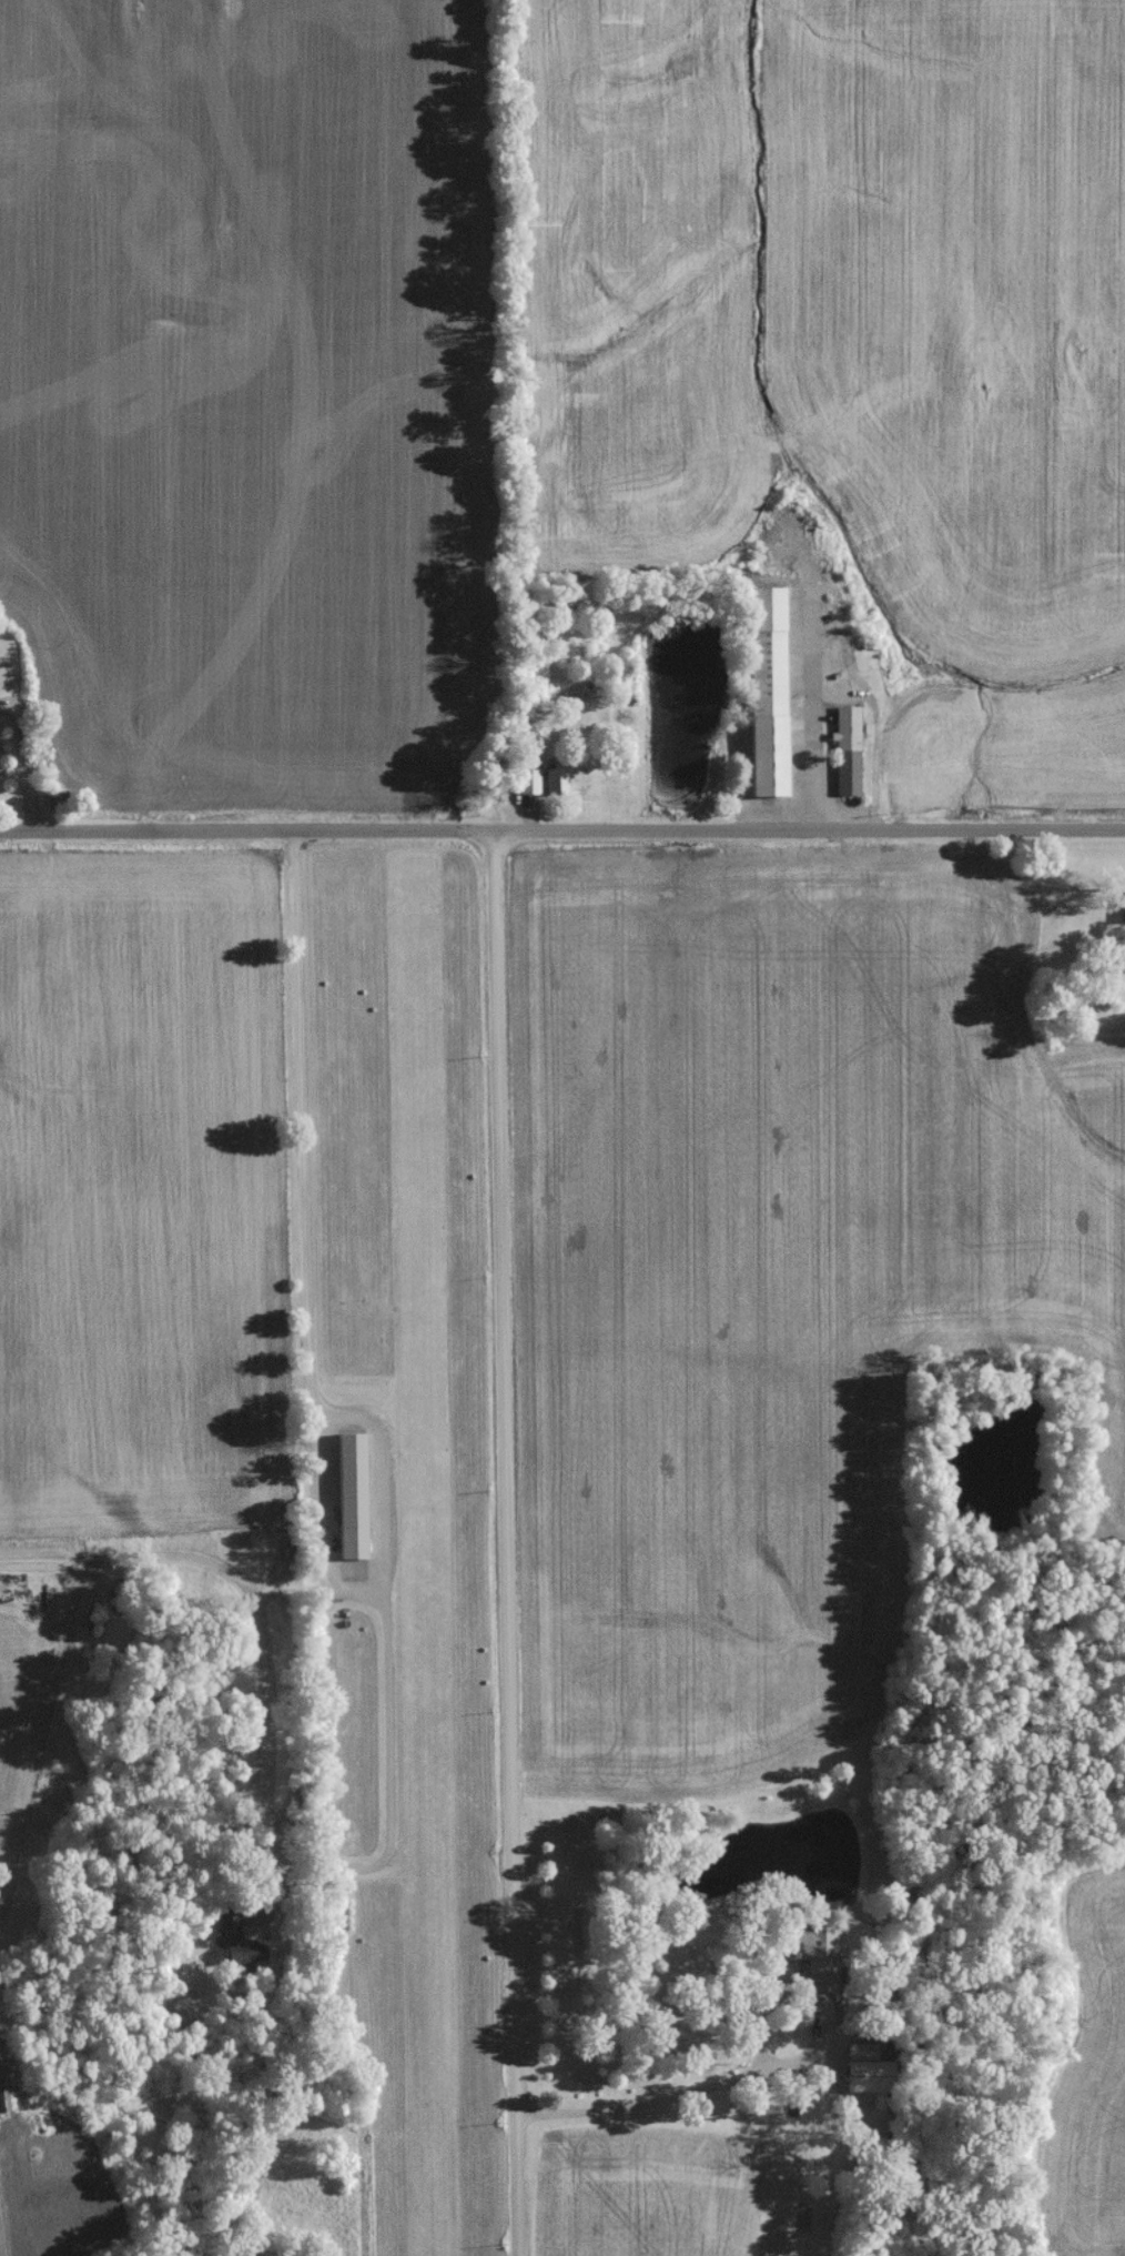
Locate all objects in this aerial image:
road: (843, 694)
building: (762, 698)
building: (844, 757)
road: (23, 761)
building: (551, 786)
building: (526, 787)
road: (562, 824)
building: (346, 1501)
road: (506, 1540)
road: (336, 1579)
building: (804, 1950)
building: (862, 2082)
road: (681, 2104)
building: (8, 2106)

